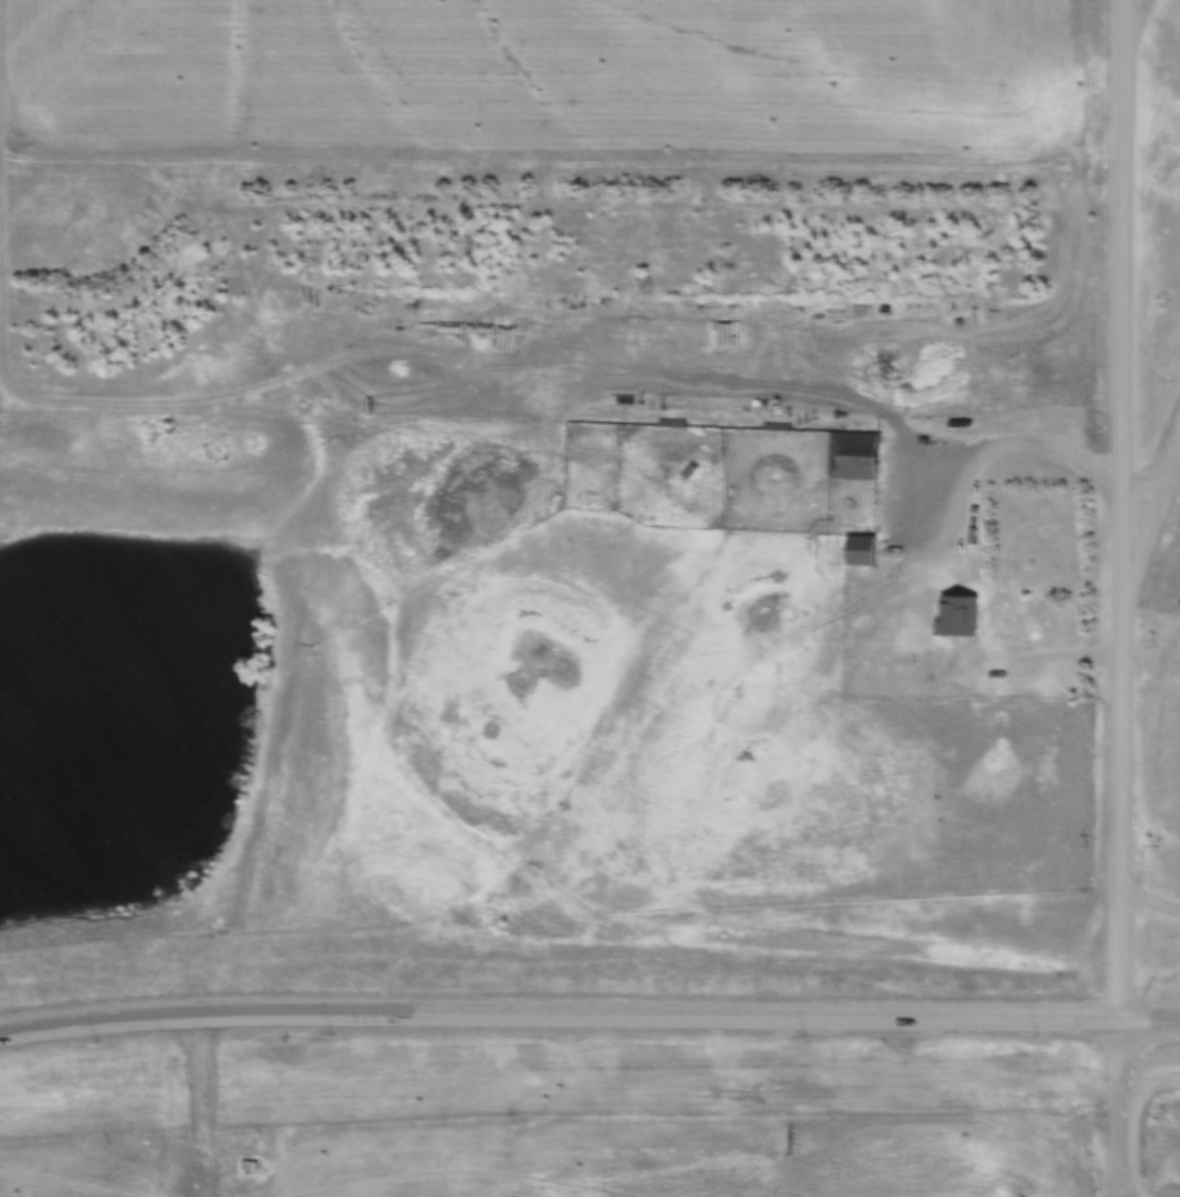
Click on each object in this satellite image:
road: (1130, 6)
road: (1121, 308)
road: (1030, 446)
building: (853, 456)
building: (858, 551)
building: (957, 615)
road: (1120, 730)
road: (589, 1014)
road: (1113, 1109)

